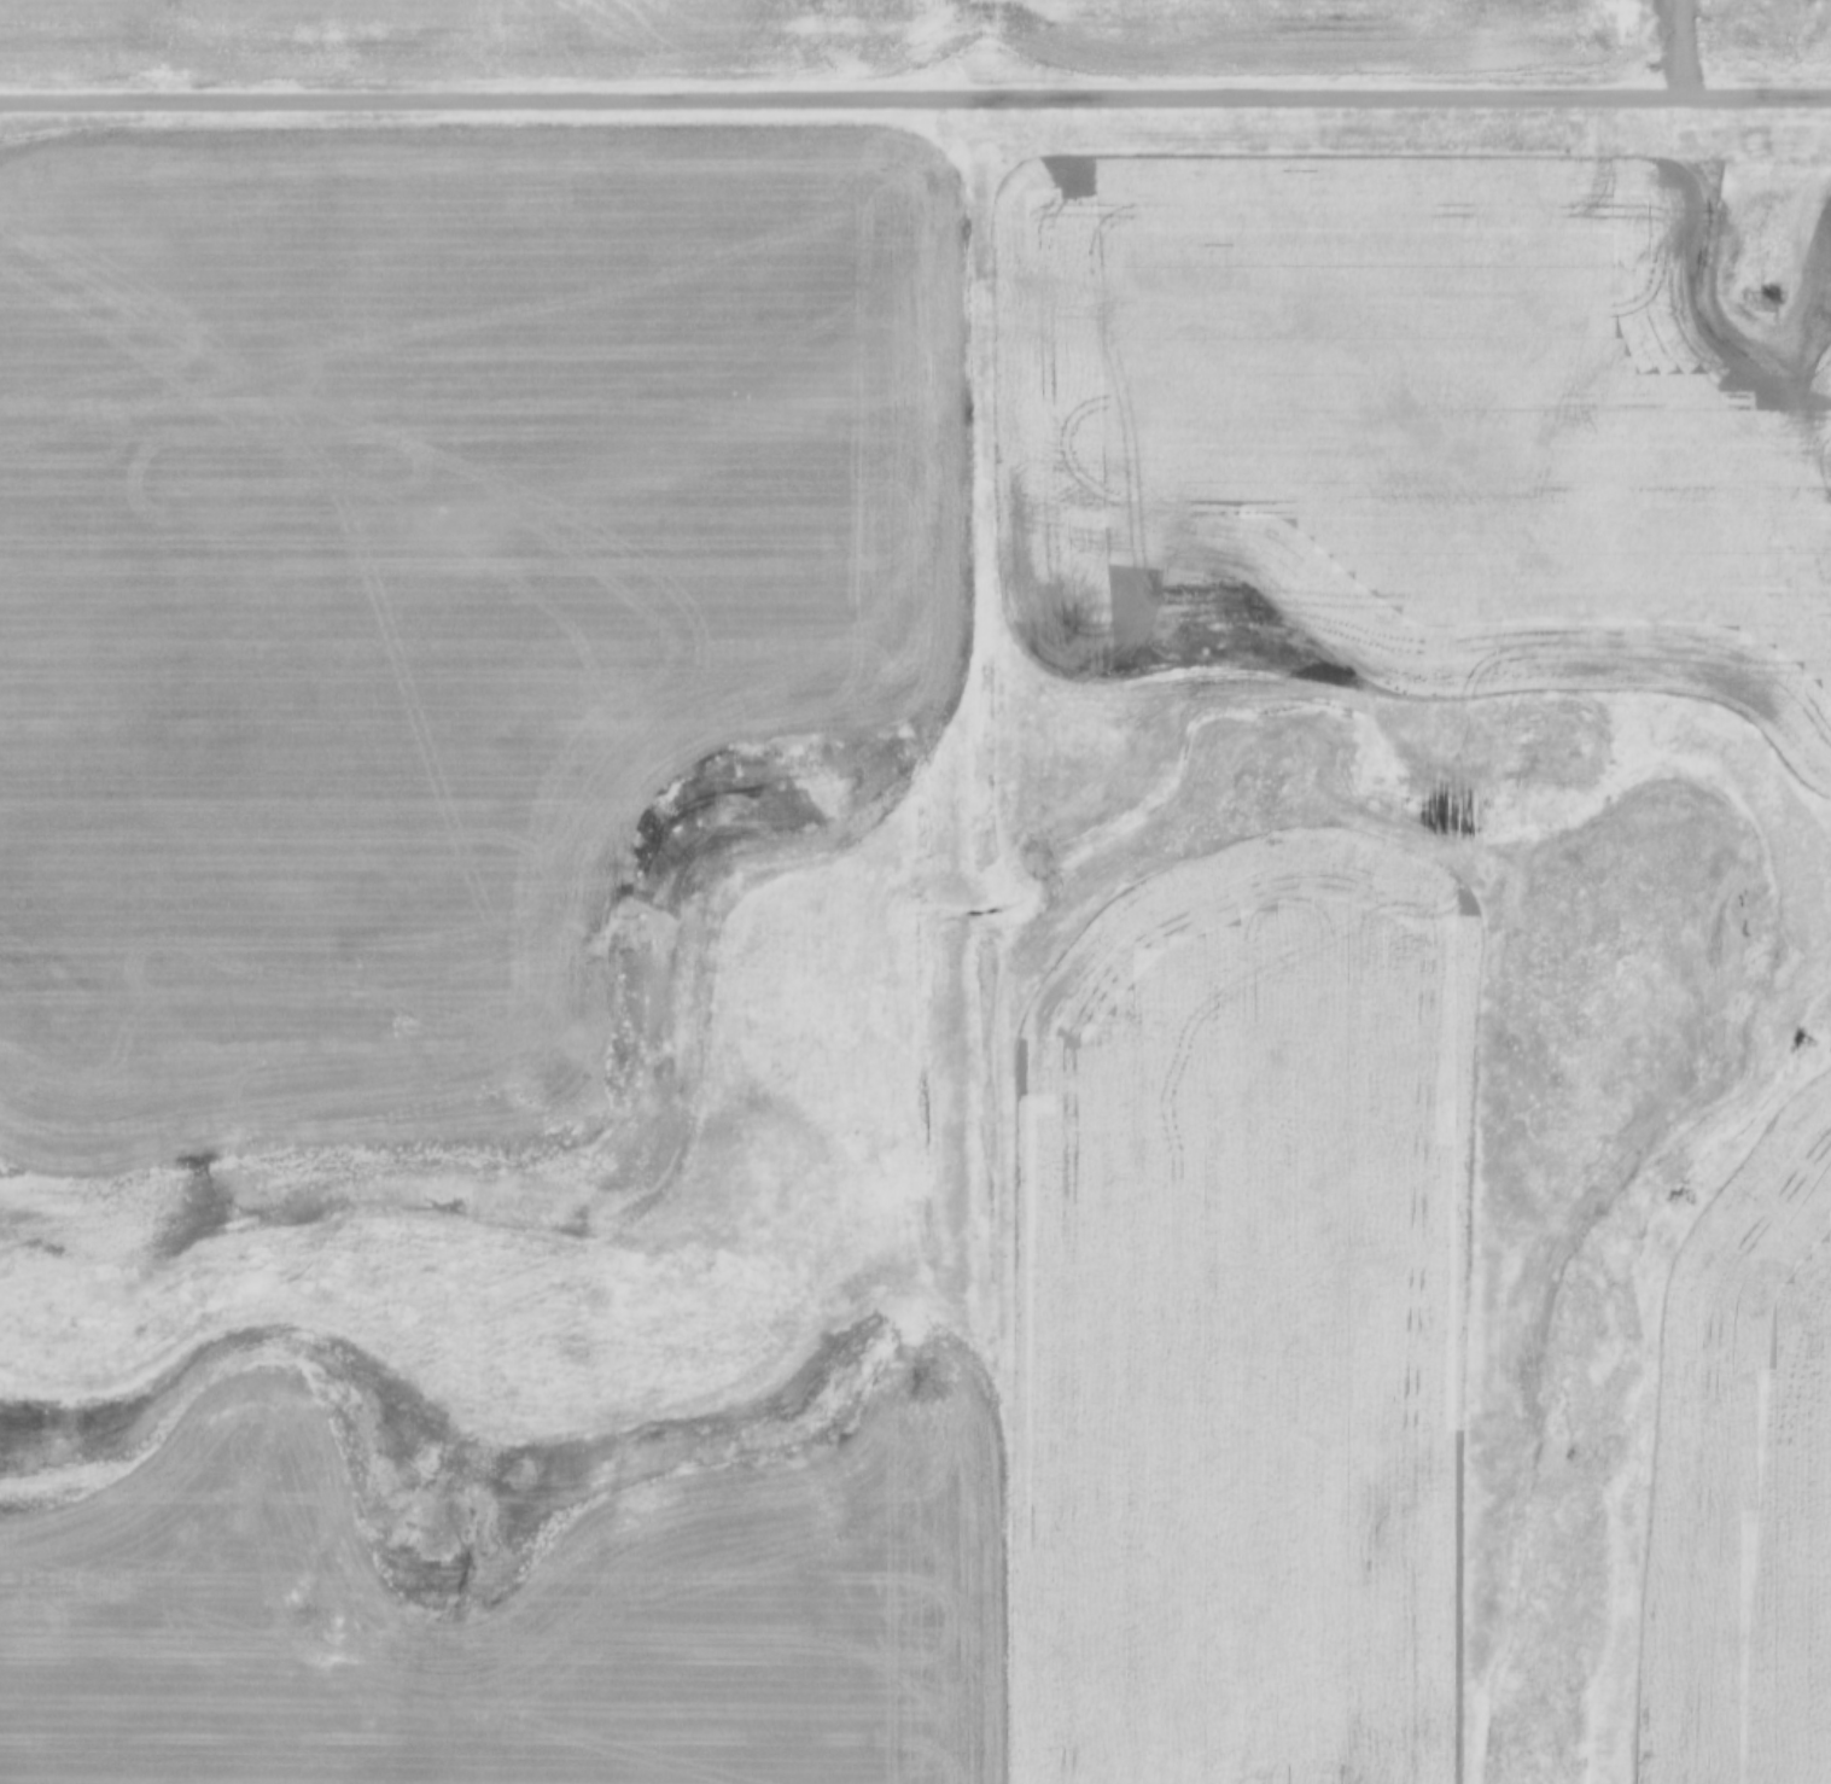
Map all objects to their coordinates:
road: (1692, 51)
road: (915, 105)

